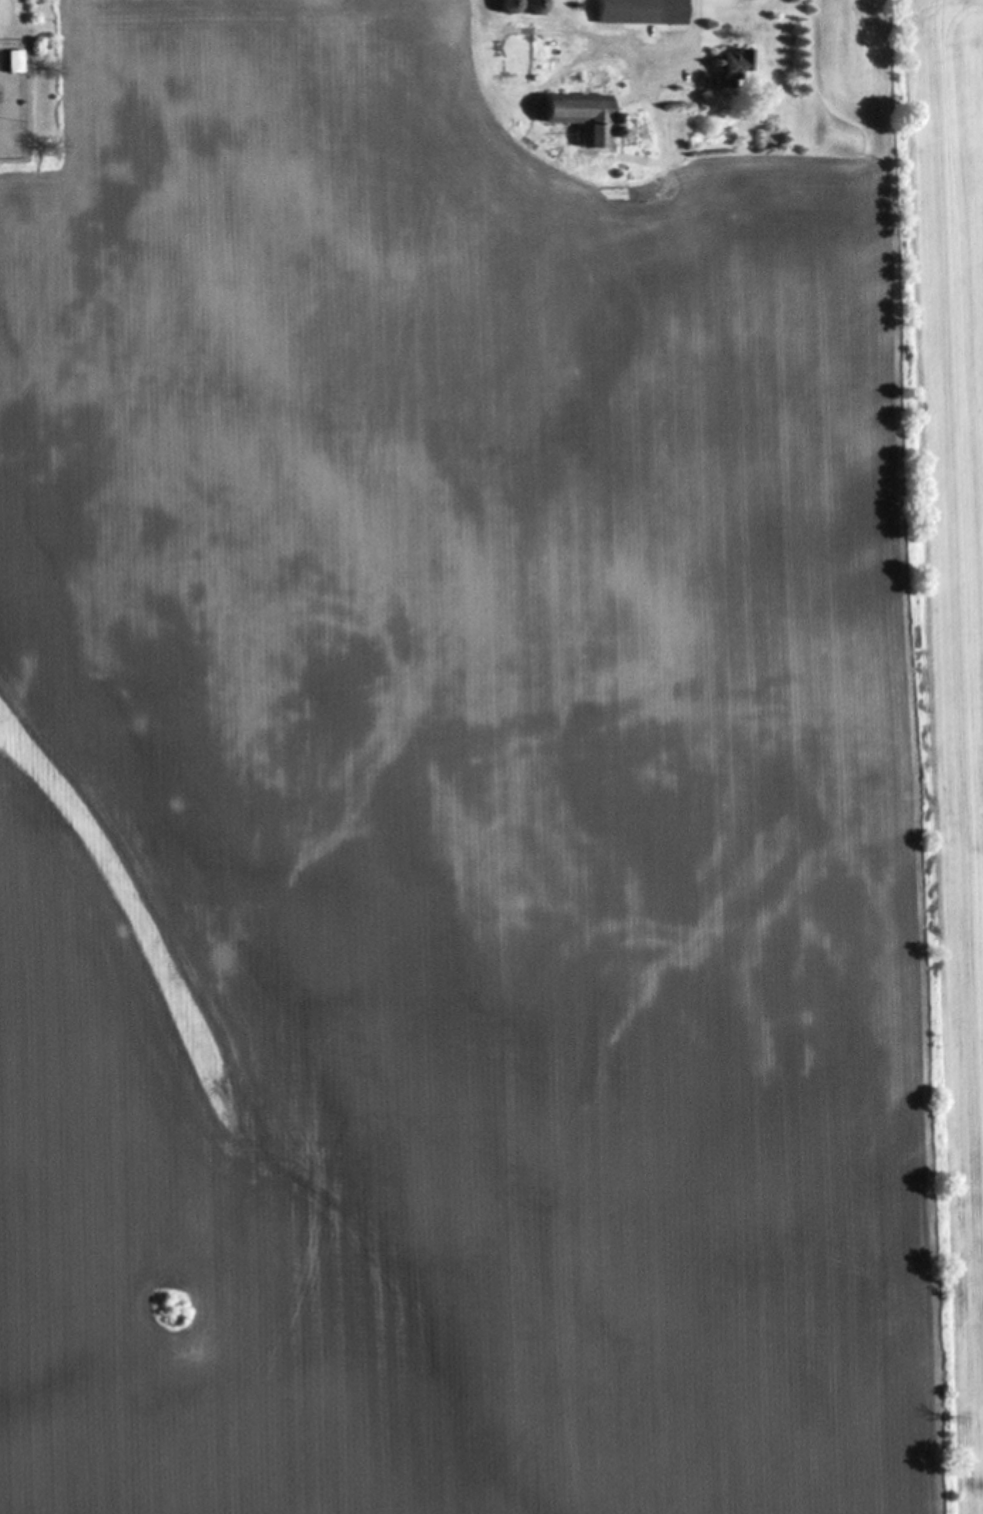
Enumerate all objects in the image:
building: (640, 11)
building: (13, 61)
building: (734, 61)
power substation: (13, 101)
building: (574, 113)

